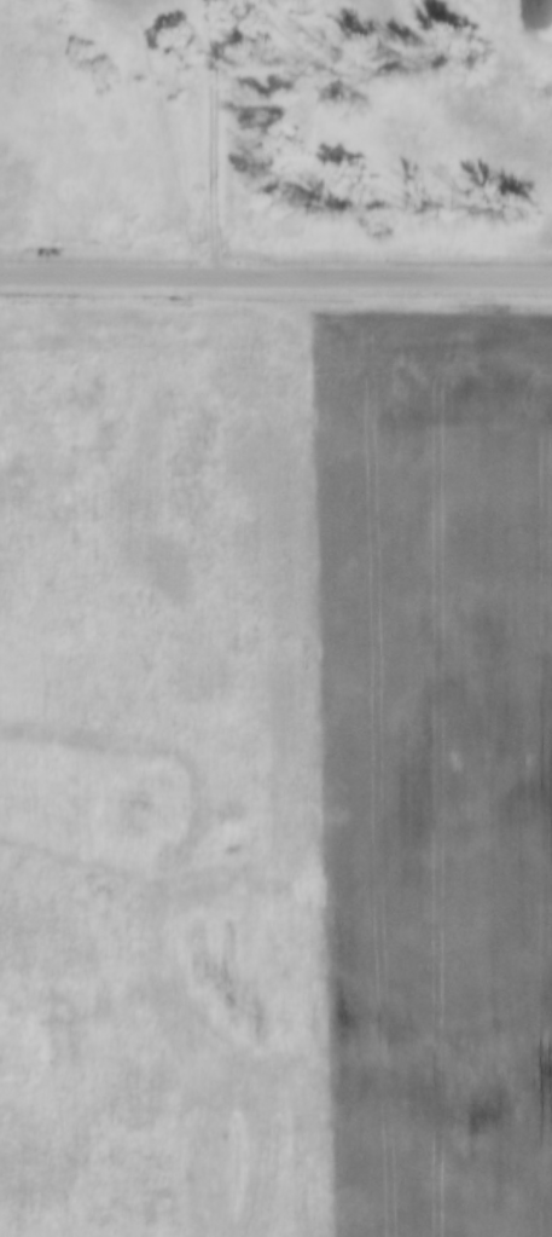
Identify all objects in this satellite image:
road: (221, 139)
road: (275, 278)

